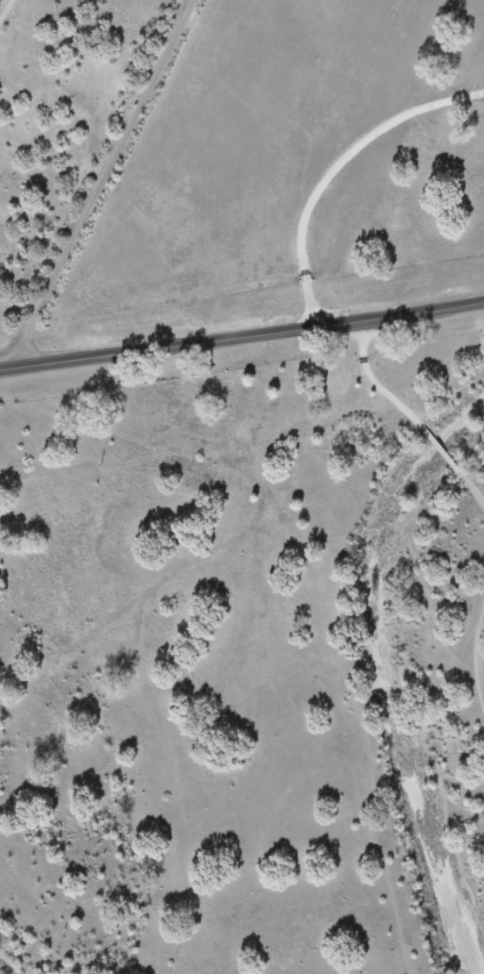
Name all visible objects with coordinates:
road: (8, 12)
road: (336, 169)
road: (105, 179)
road: (242, 337)
road: (411, 415)
road: (479, 662)

